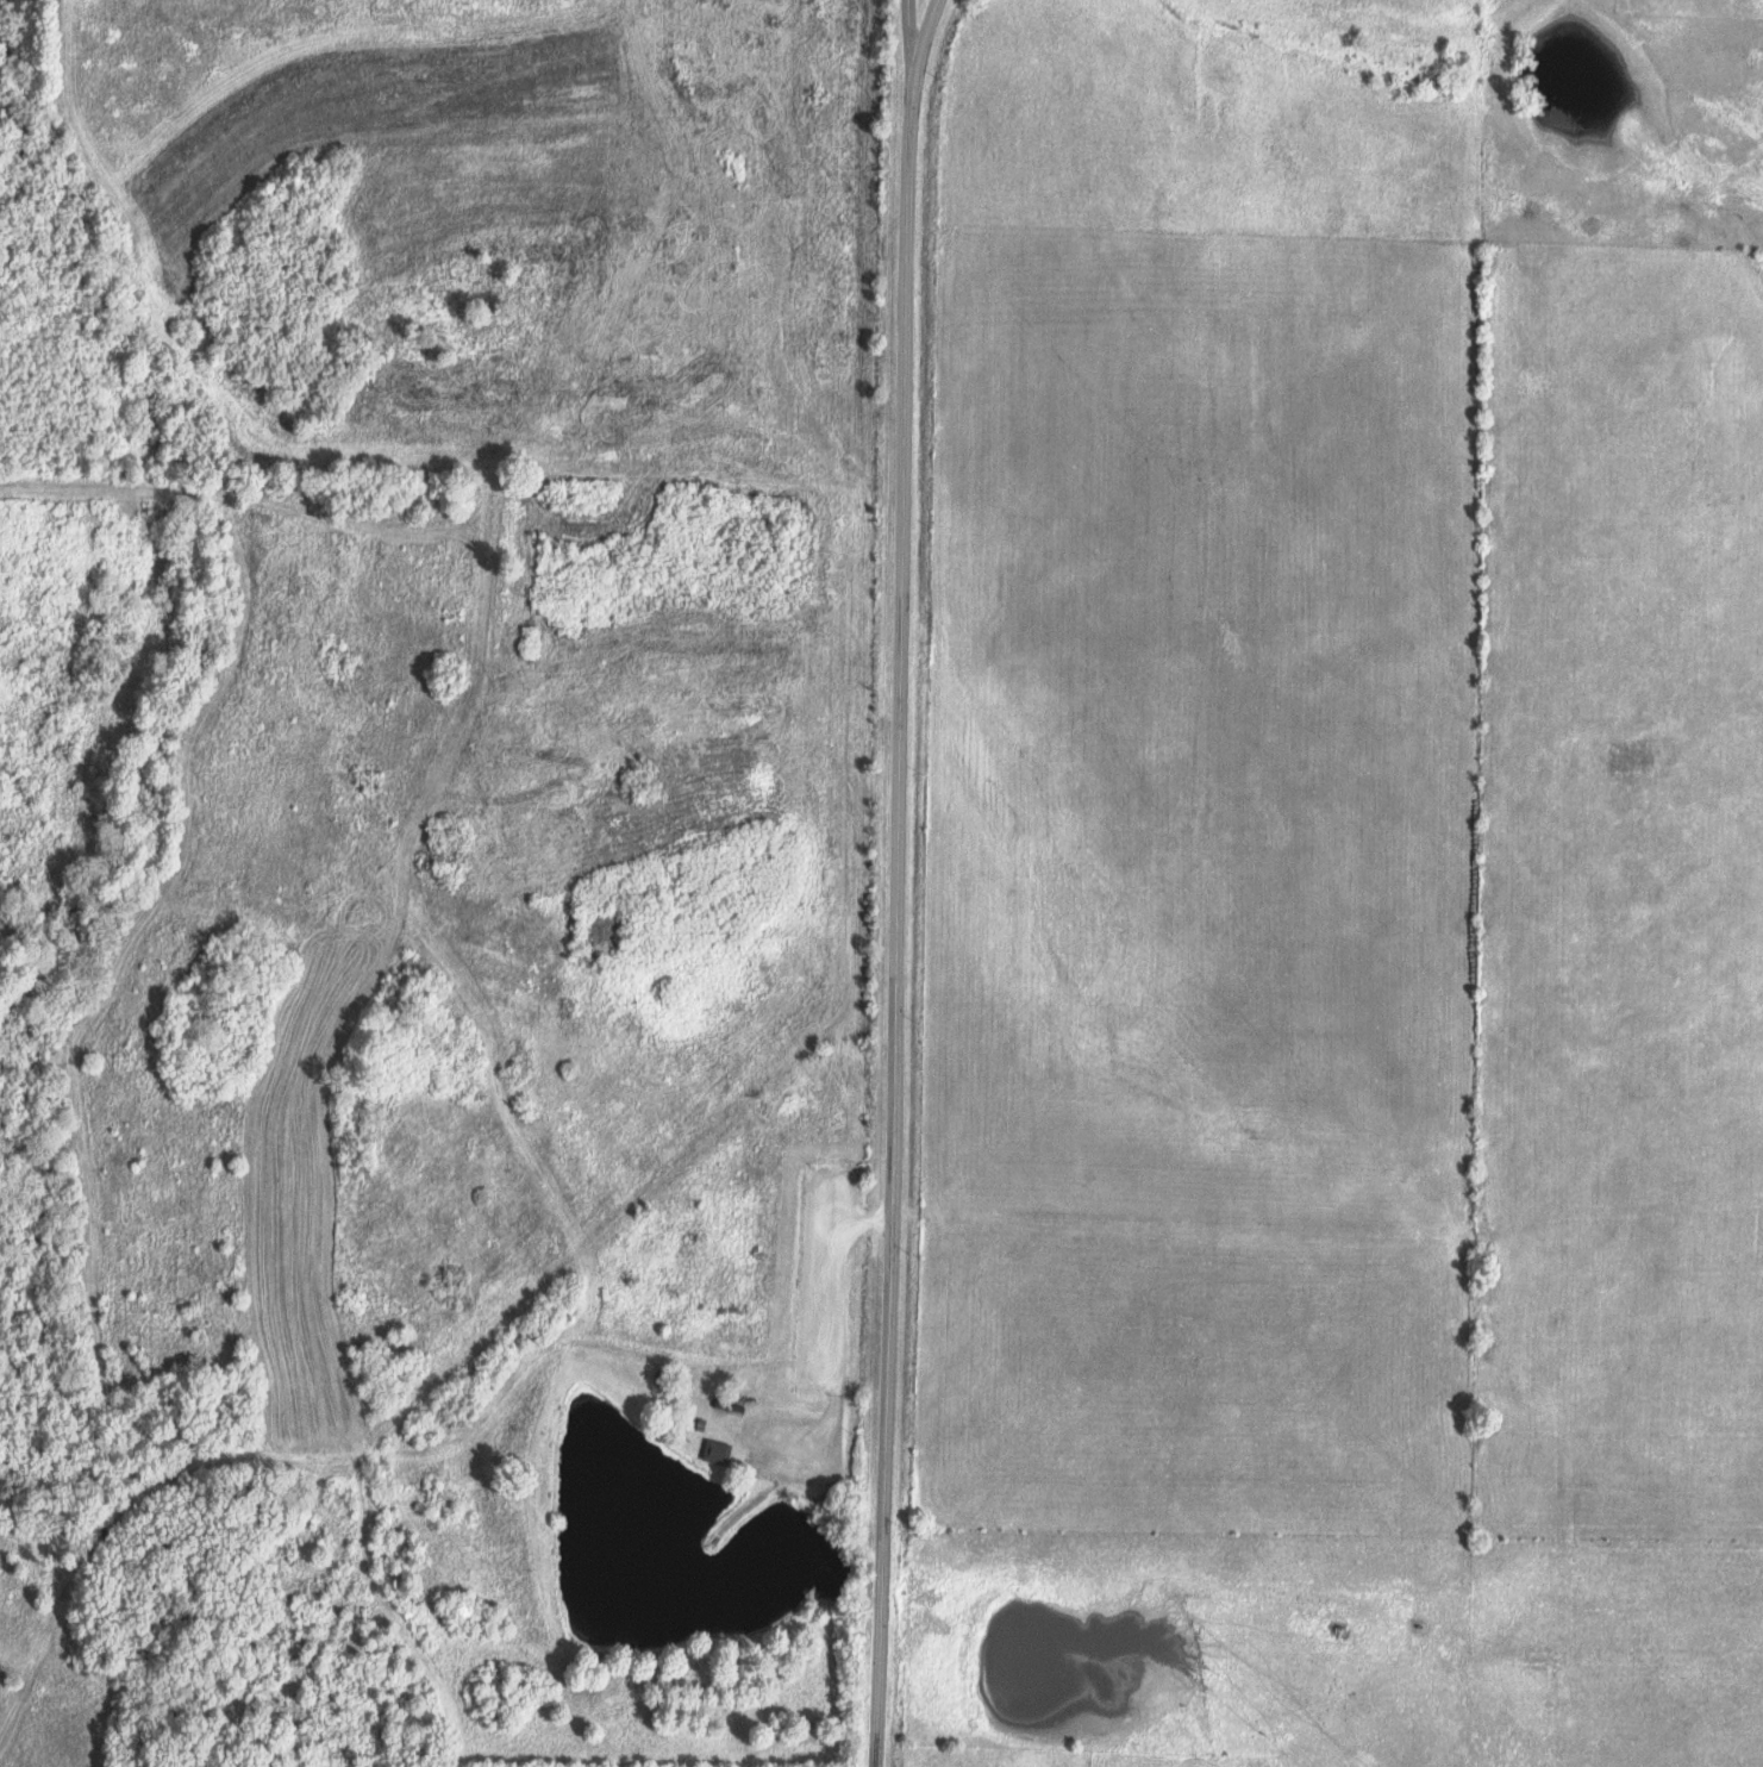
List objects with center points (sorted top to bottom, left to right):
road: (911, 33)
road: (896, 881)
building: (713, 1453)

